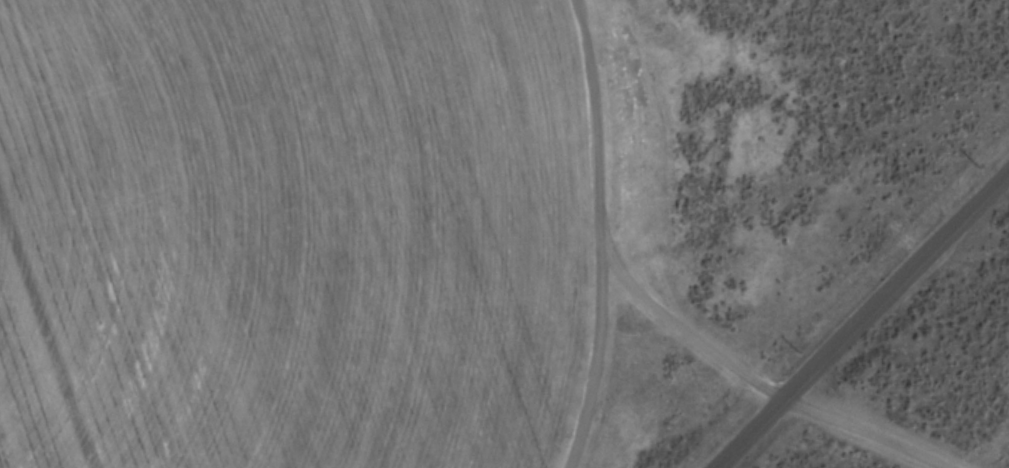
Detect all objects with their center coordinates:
road: (867, 323)

